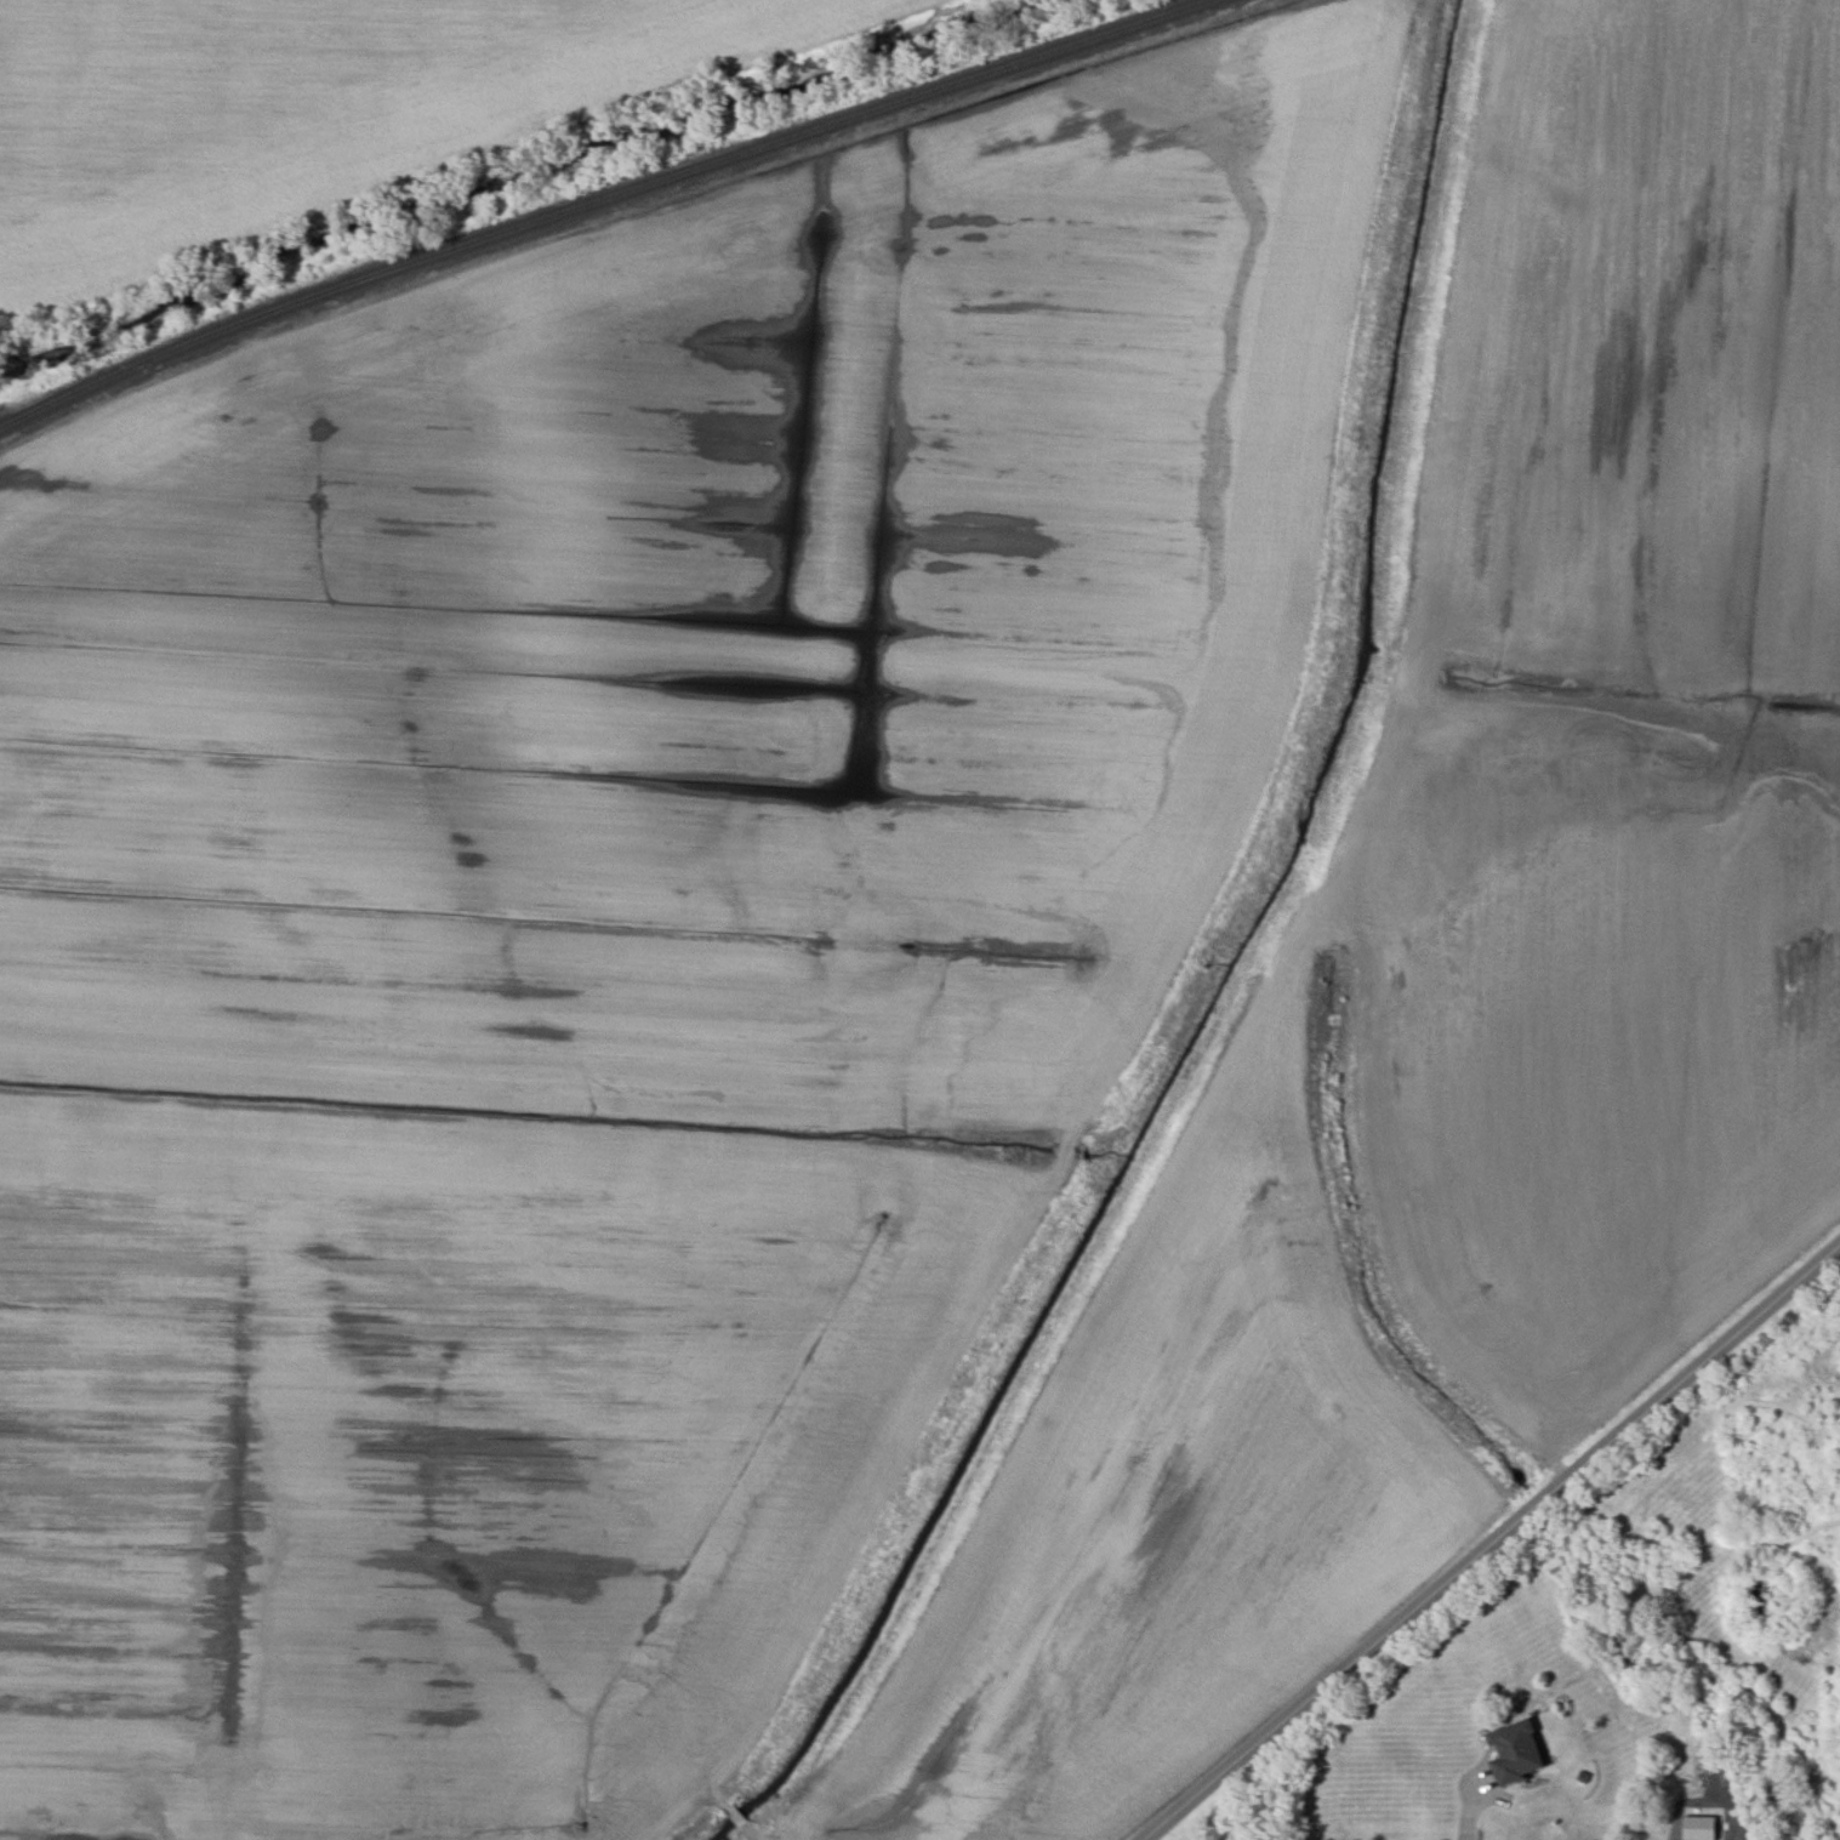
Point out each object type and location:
crop: (307, 107)
railway: (585, 195)
crop: (1618, 710)
crop: (622, 924)
crop: (1173, 1505)
road: (1489, 1537)
building: (1514, 1751)
road: (1469, 1802)
building: (1699, 1828)

